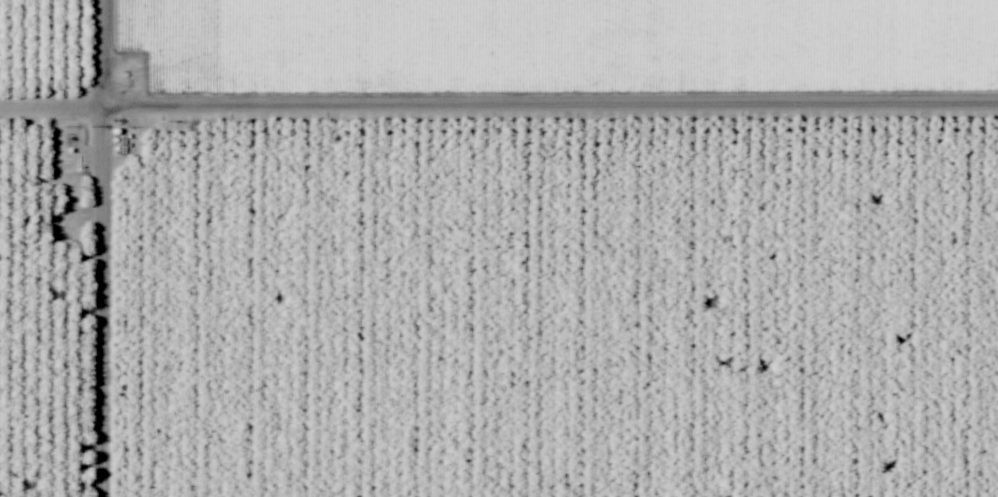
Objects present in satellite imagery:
crop: (58, 67)
crop: (557, 67)
road: (498, 109)
road: (91, 248)

